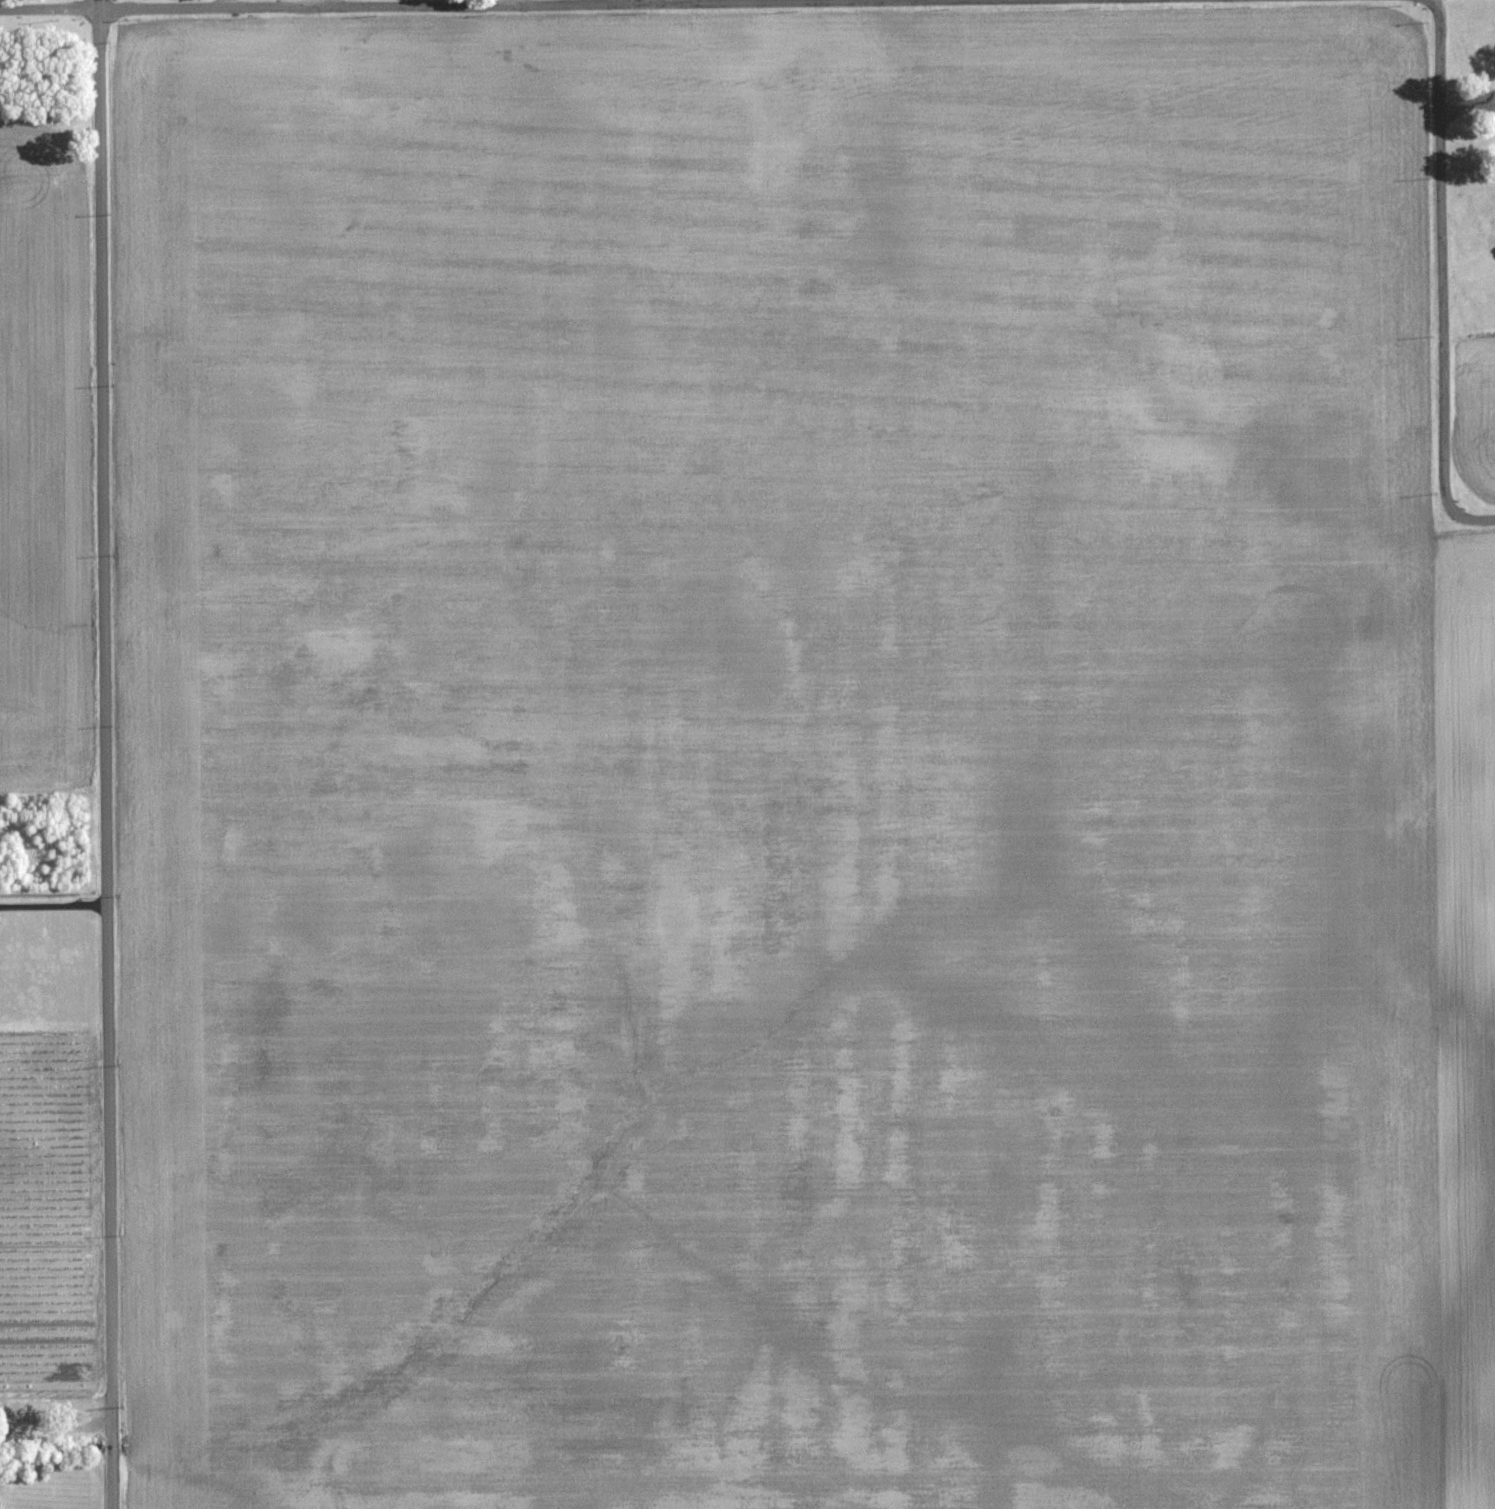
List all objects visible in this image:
road: (504, 2)
road: (225, 3)
road: (327, 3)
road: (507, 4)
road: (1438, 10)
road: (1466, 108)
road: (1442, 277)
road: (104, 754)
road: (53, 906)
road: (55, 1426)

